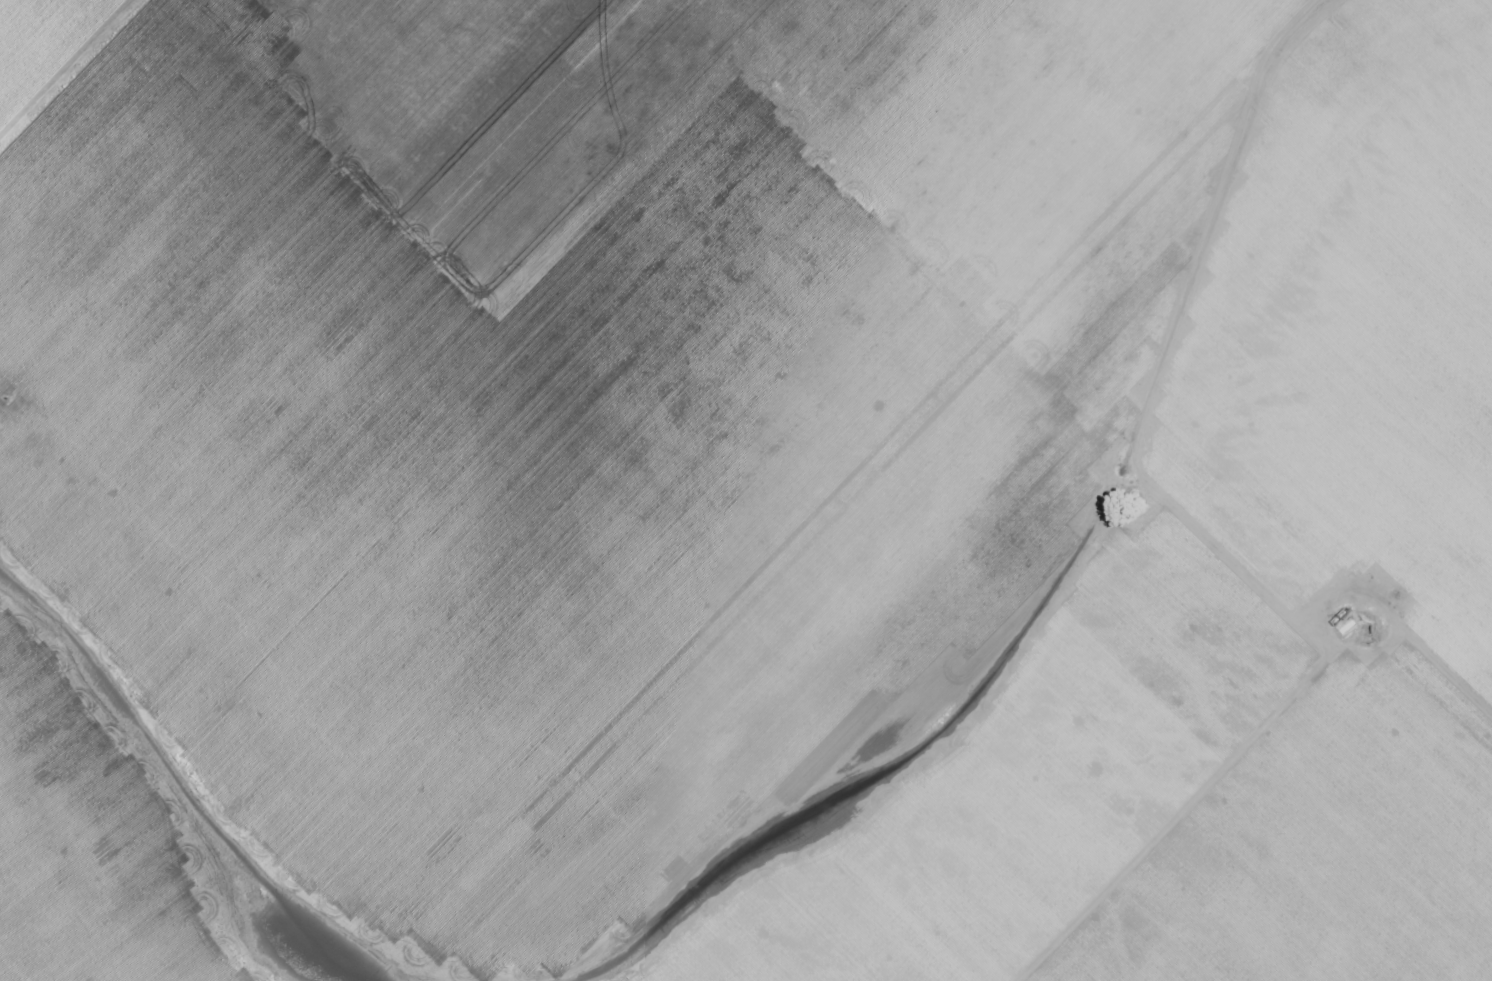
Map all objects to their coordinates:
road: (1257, 772)

